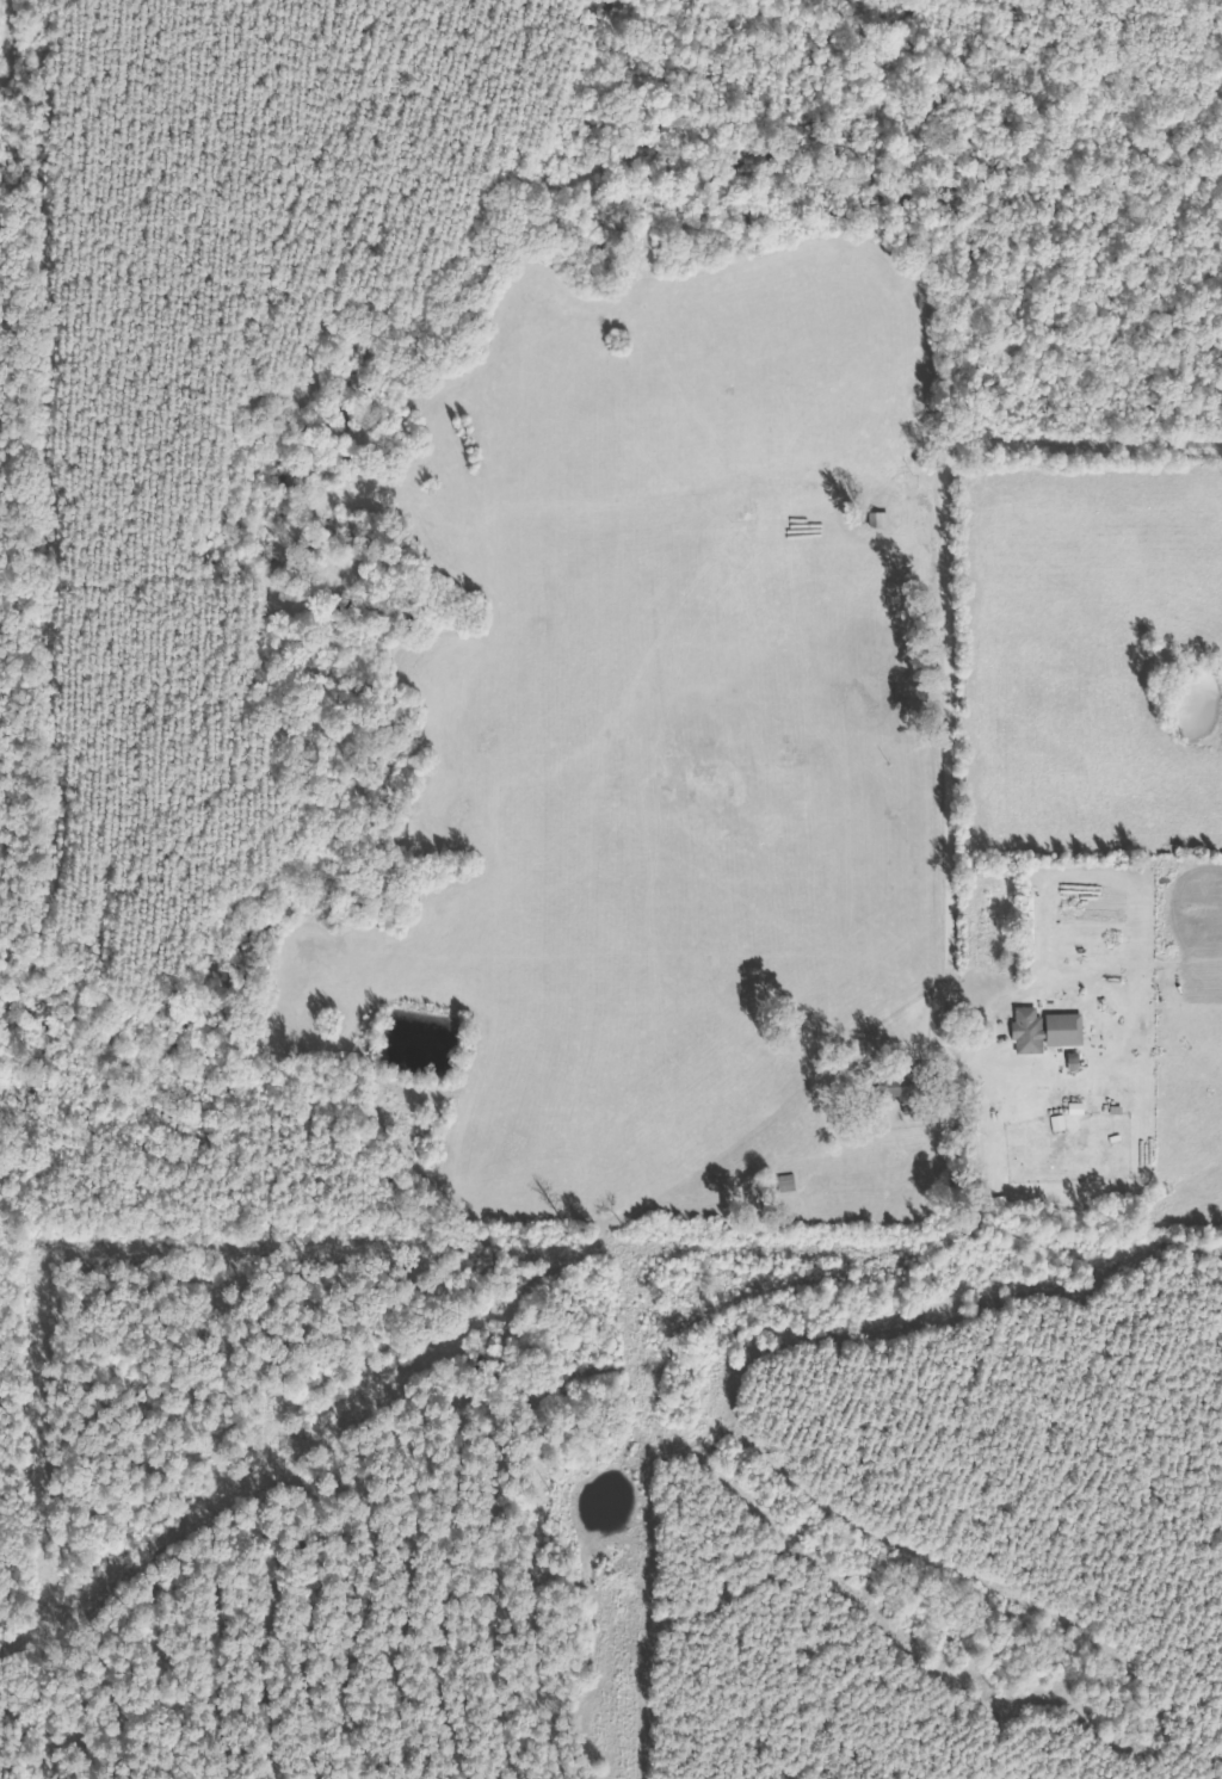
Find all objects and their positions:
building: (882, 520)
road: (946, 606)
building: (1049, 1030)
building: (905, 1086)
building: (1080, 1108)
building: (1062, 1123)

